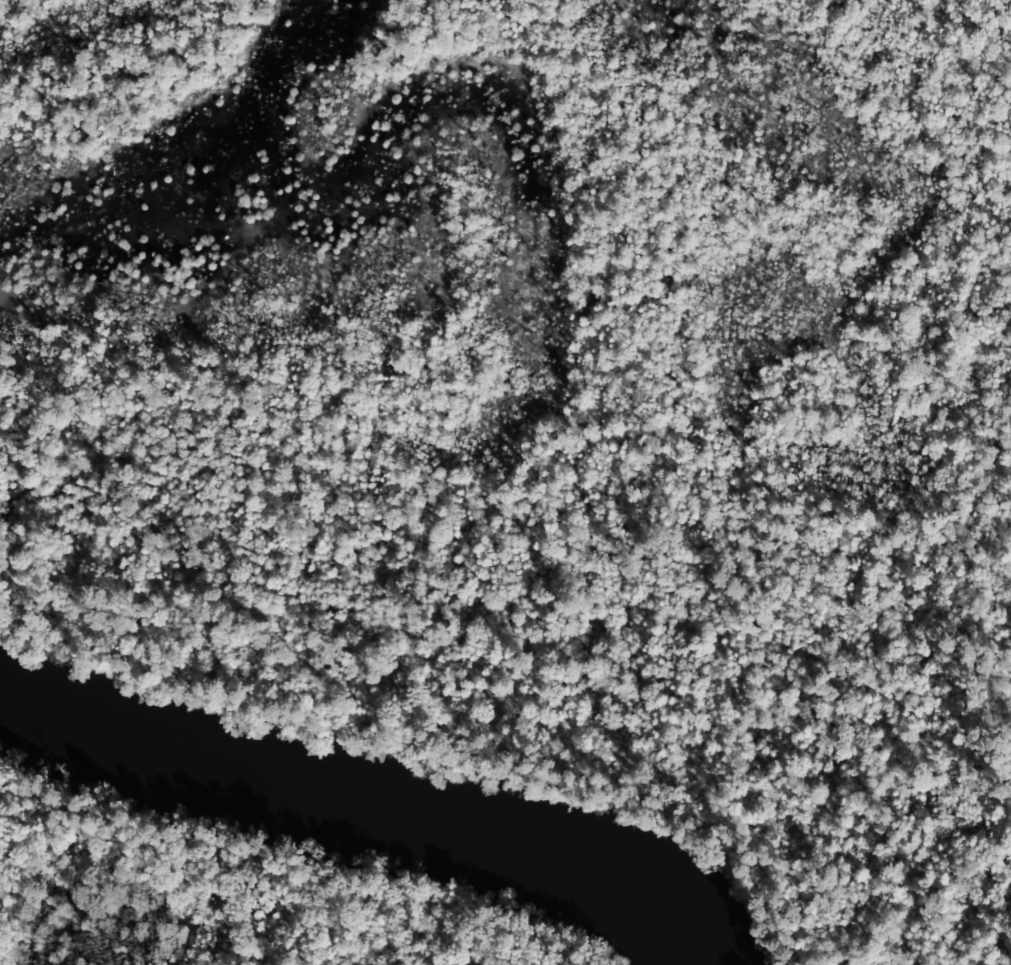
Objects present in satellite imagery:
river: (359, 804)

